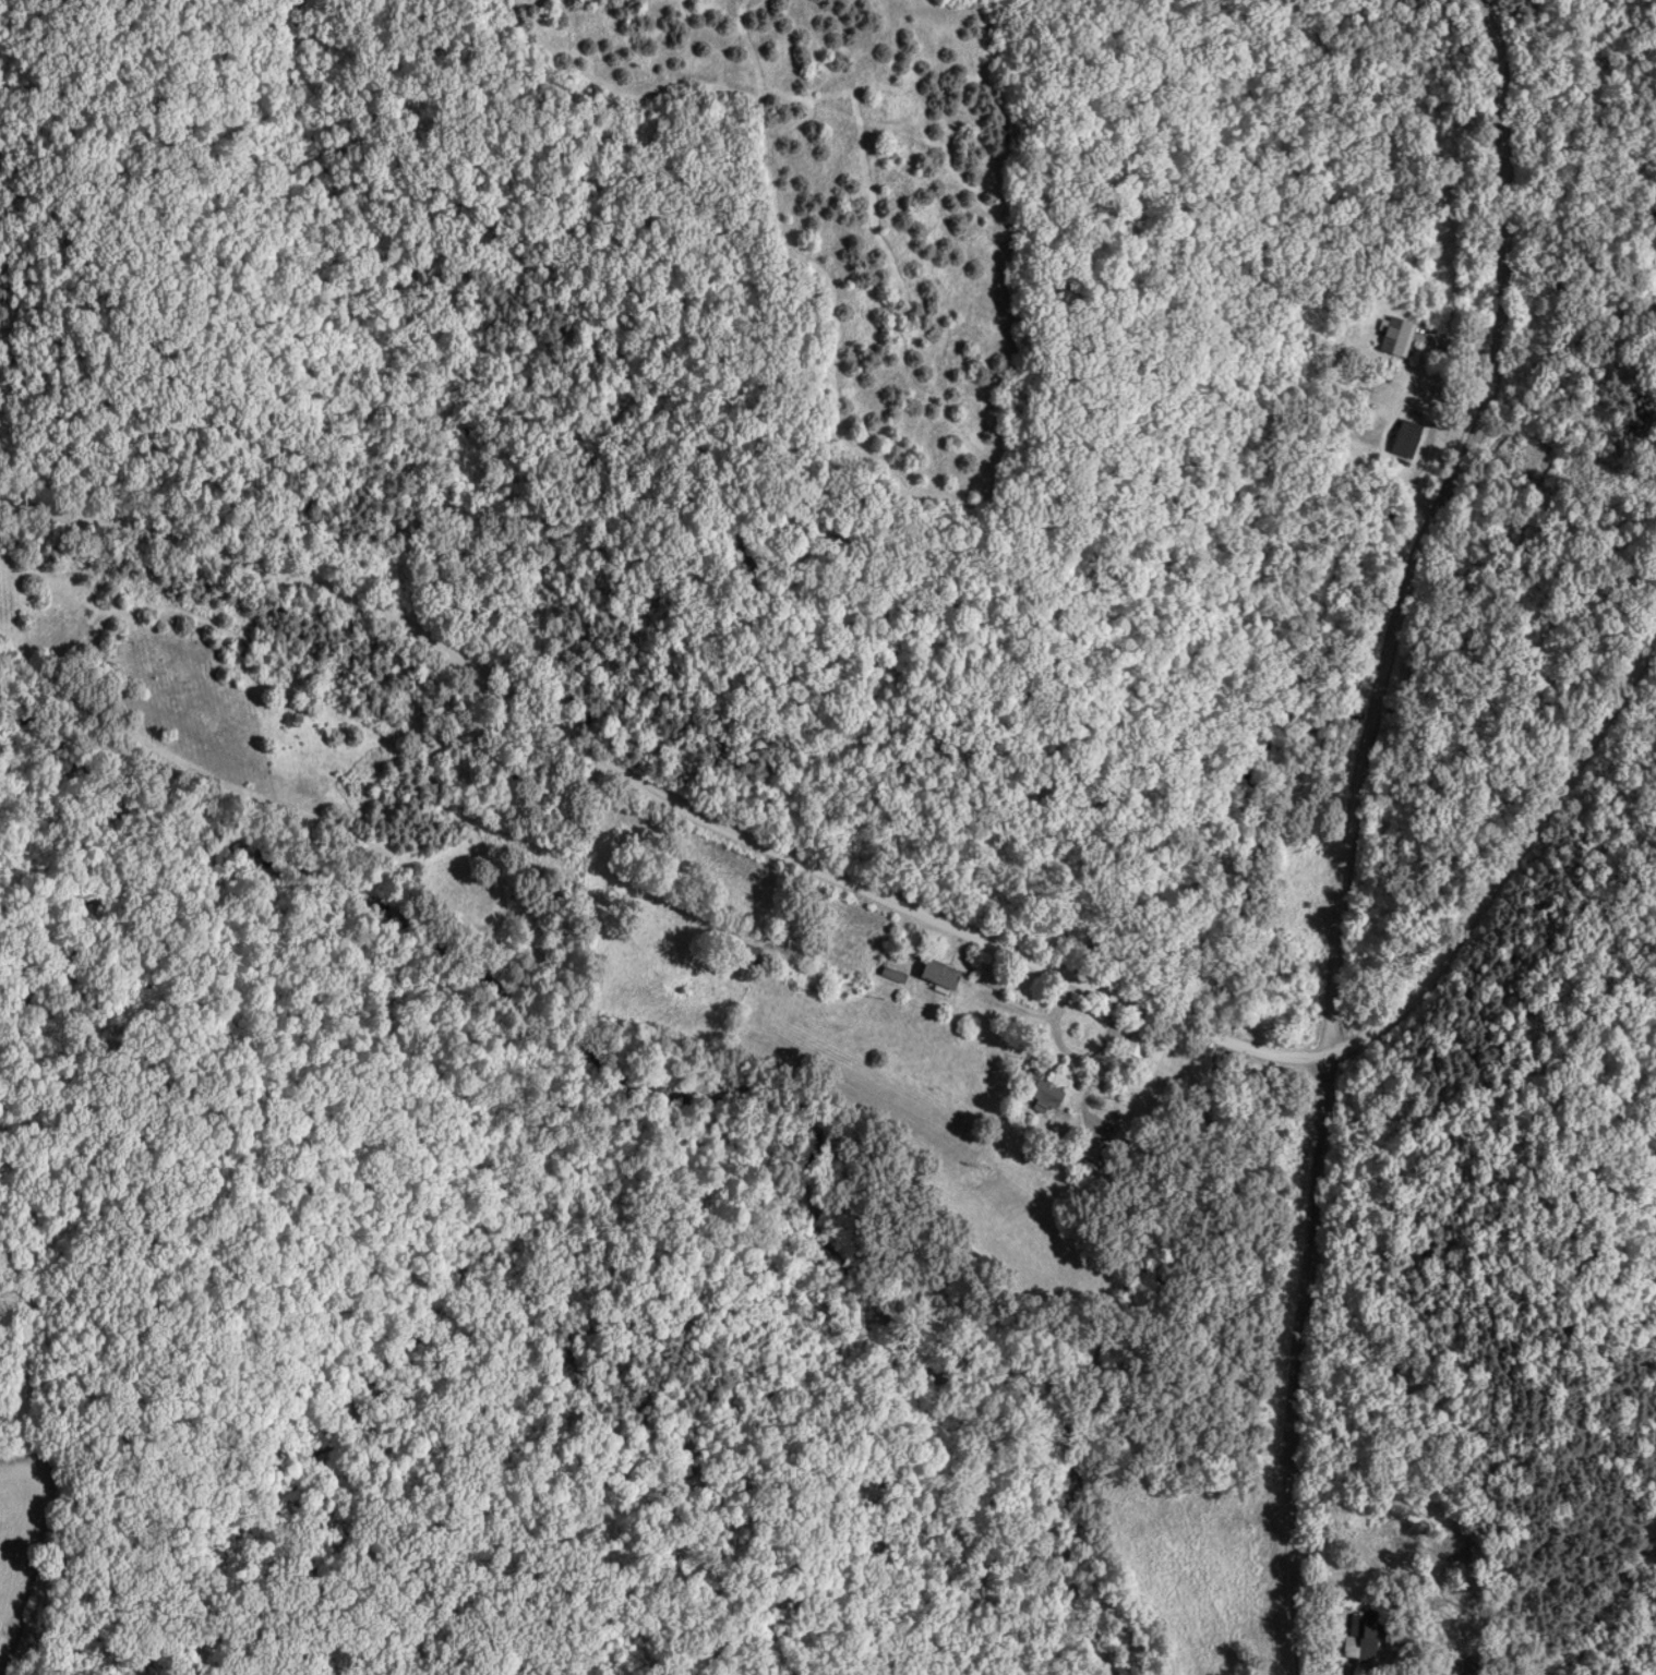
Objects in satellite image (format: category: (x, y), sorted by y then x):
building: (1395, 338)
road: (1339, 818)
road: (900, 909)
building: (781, 947)
building: (947, 974)
building: (898, 975)
building: (1140, 1048)
building: (1053, 1095)
building: (1100, 1152)
building: (1351, 1641)
building: (1461, 1668)

